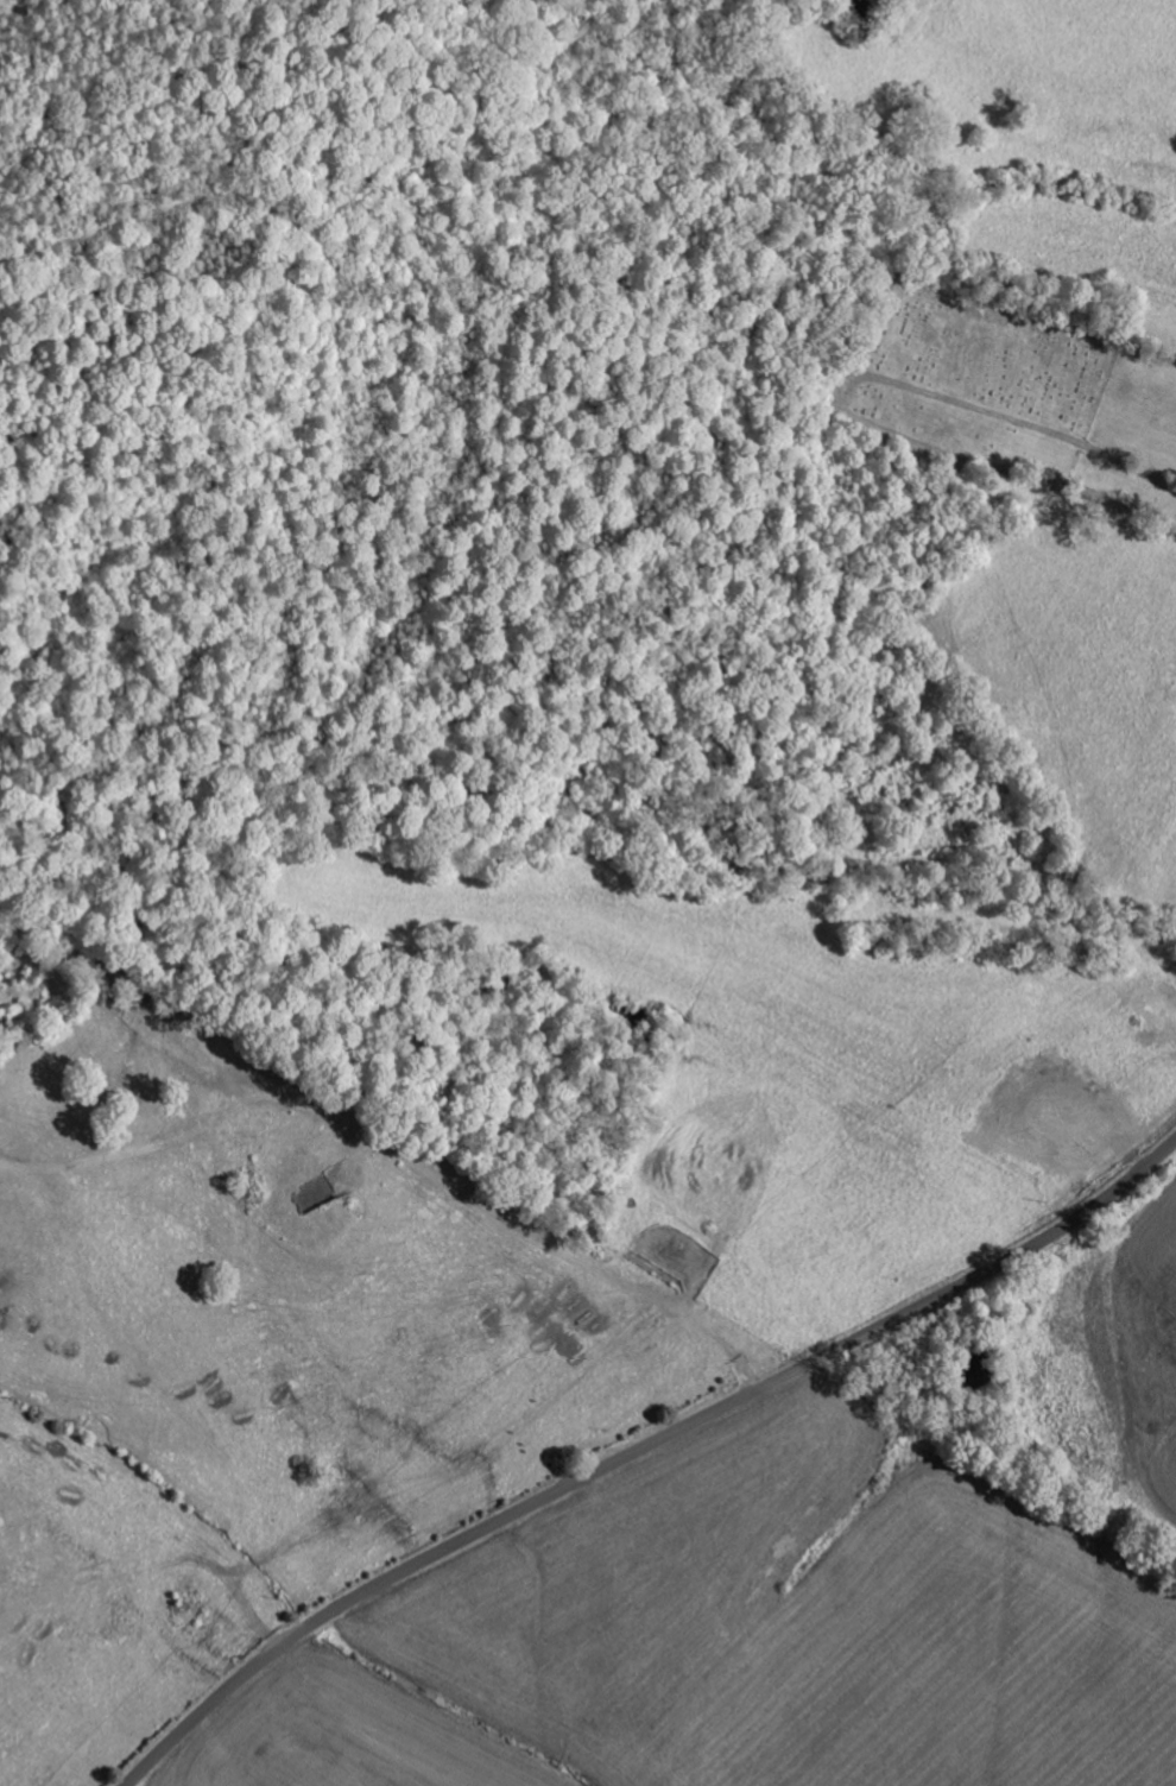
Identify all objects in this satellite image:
park: (978, 375)
road: (1144, 466)
road: (640, 1446)

